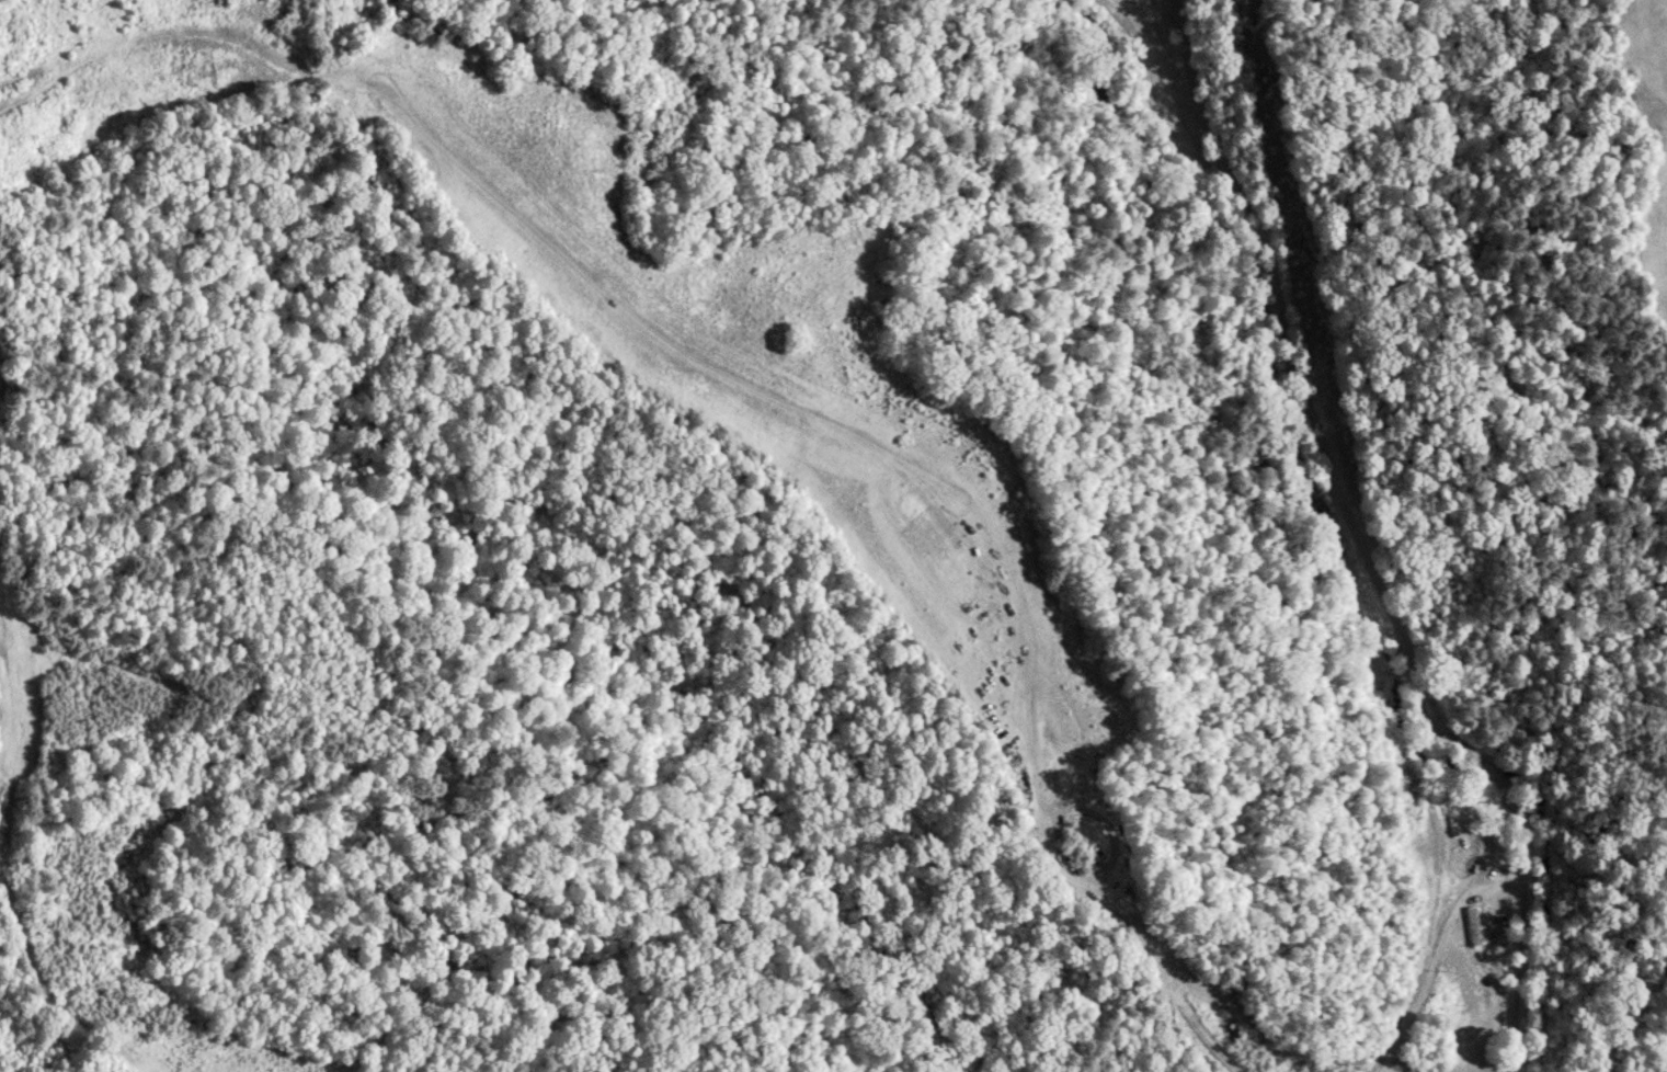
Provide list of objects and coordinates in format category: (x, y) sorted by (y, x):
road: (1368, 535)

